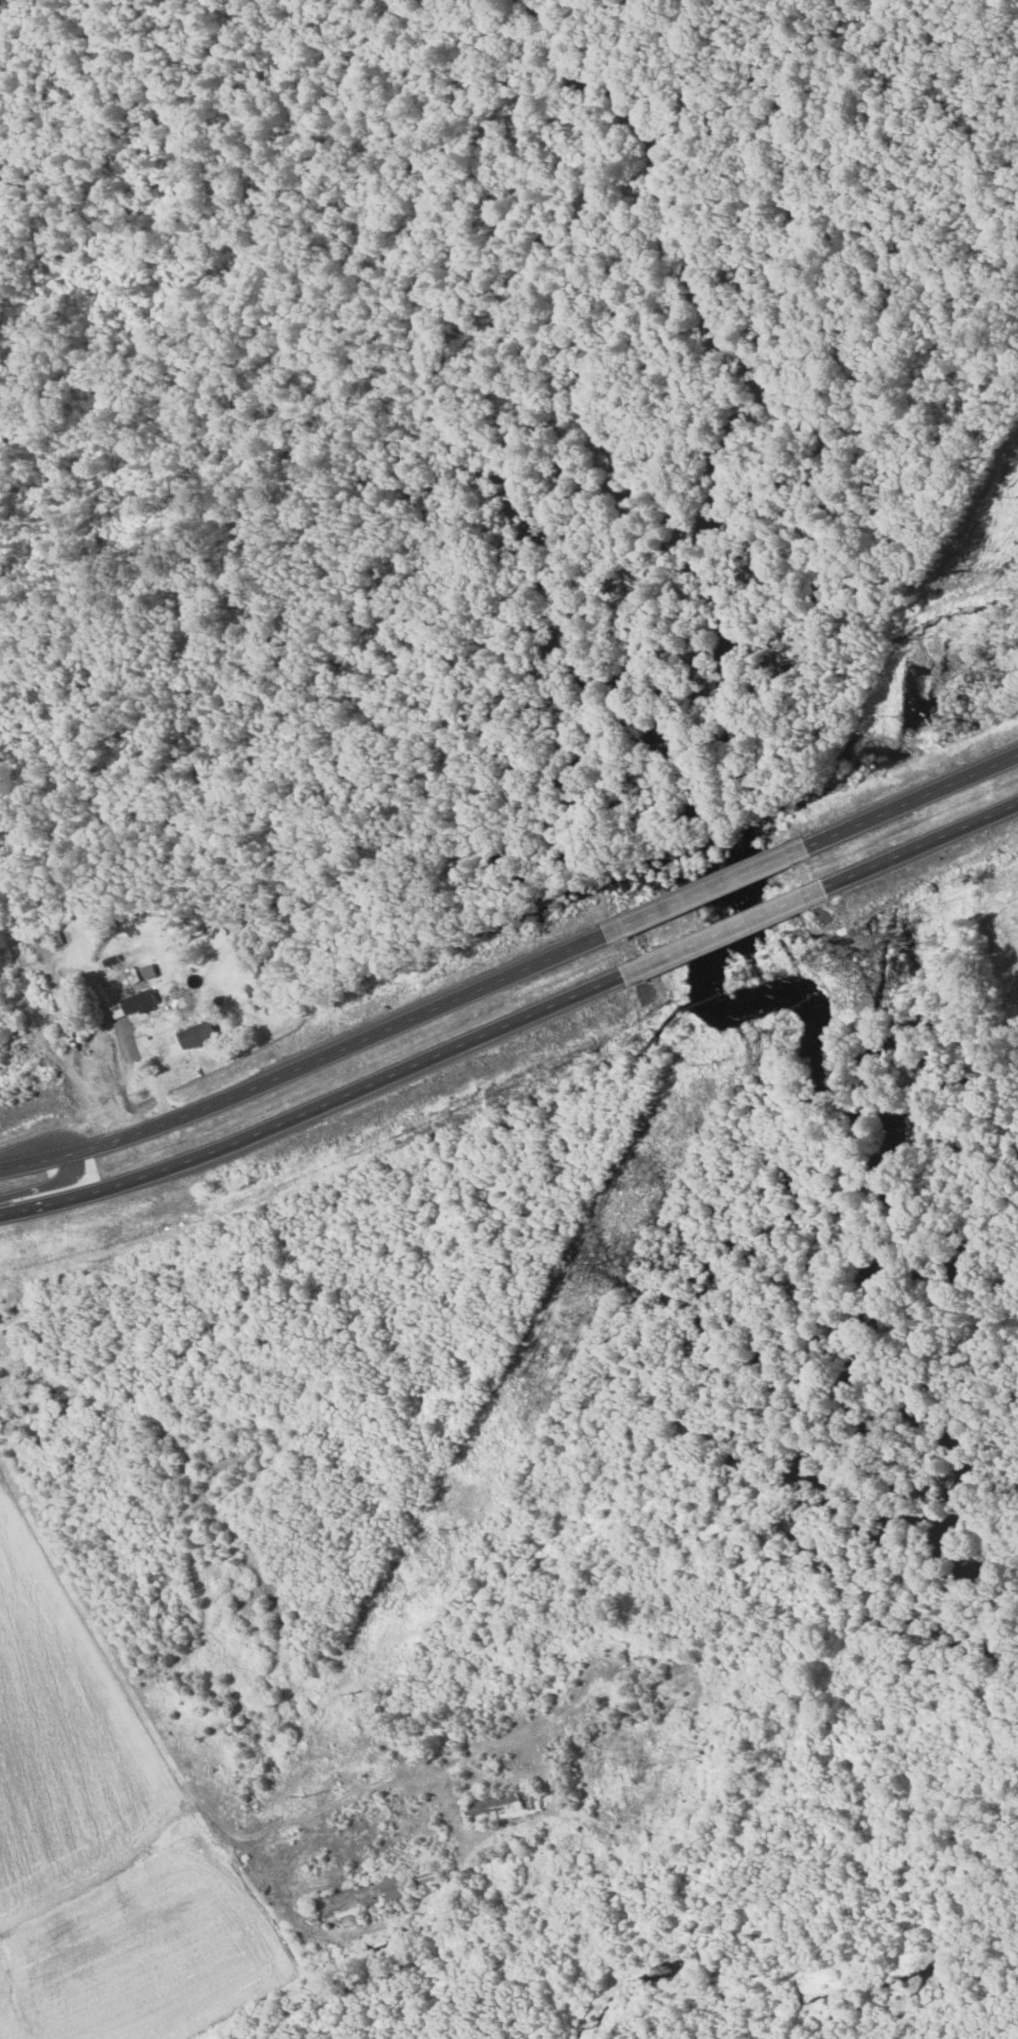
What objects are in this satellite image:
road: (913, 801)
road: (922, 844)
road: (707, 891)
road: (726, 930)
building: (43, 942)
building: (129, 977)
building: (180, 998)
building: (133, 1005)
building: (198, 1035)
building: (18, 1053)
road: (308, 1065)
road: (317, 1107)
road: (46, 1185)
building: (504, 1804)
building: (245, 1806)
building: (431, 1876)
building: (361, 1897)

